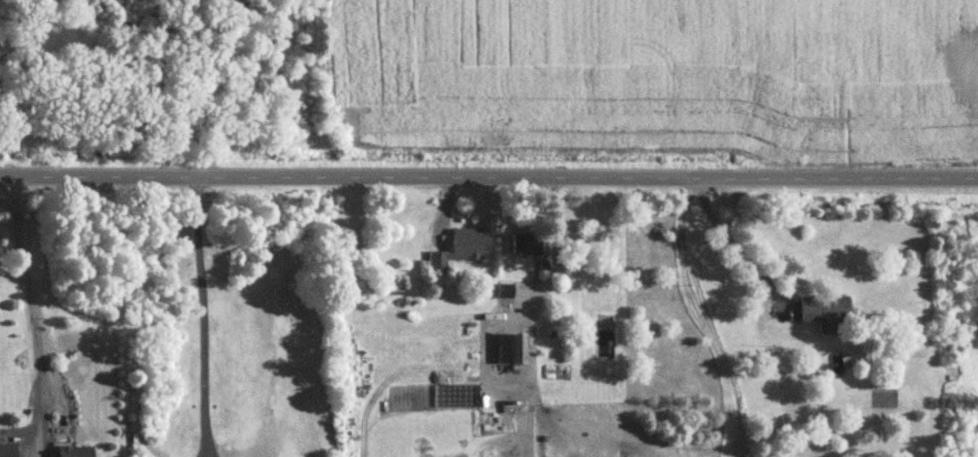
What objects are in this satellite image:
road: (237, 86)
road: (489, 172)
road: (734, 242)
building: (525, 245)
road: (554, 249)
building: (459, 251)
road: (27, 288)
building: (505, 293)
road: (205, 304)
building: (824, 312)
building: (510, 350)
building: (8, 451)
building: (75, 452)

